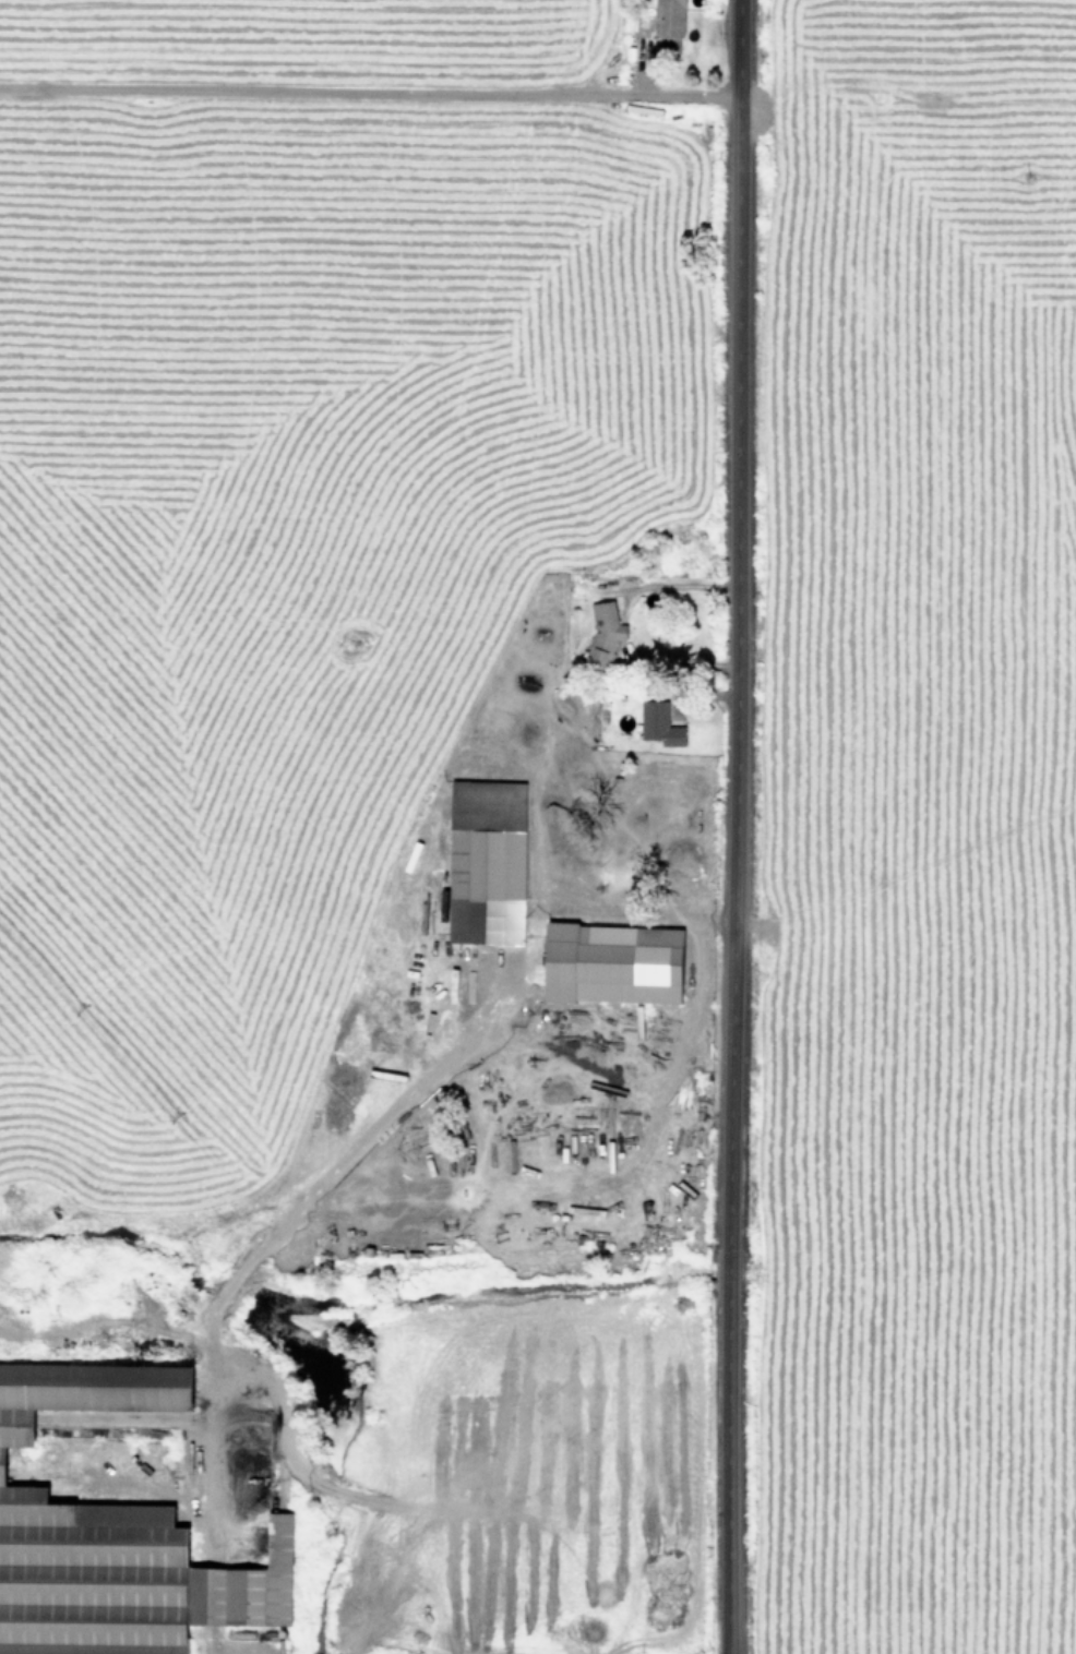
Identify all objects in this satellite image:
building: (669, 16)
road: (366, 98)
building: (603, 628)
building: (658, 723)
crop: (342, 824)
road: (722, 826)
crop: (922, 830)
building: (485, 862)
building: (610, 962)

